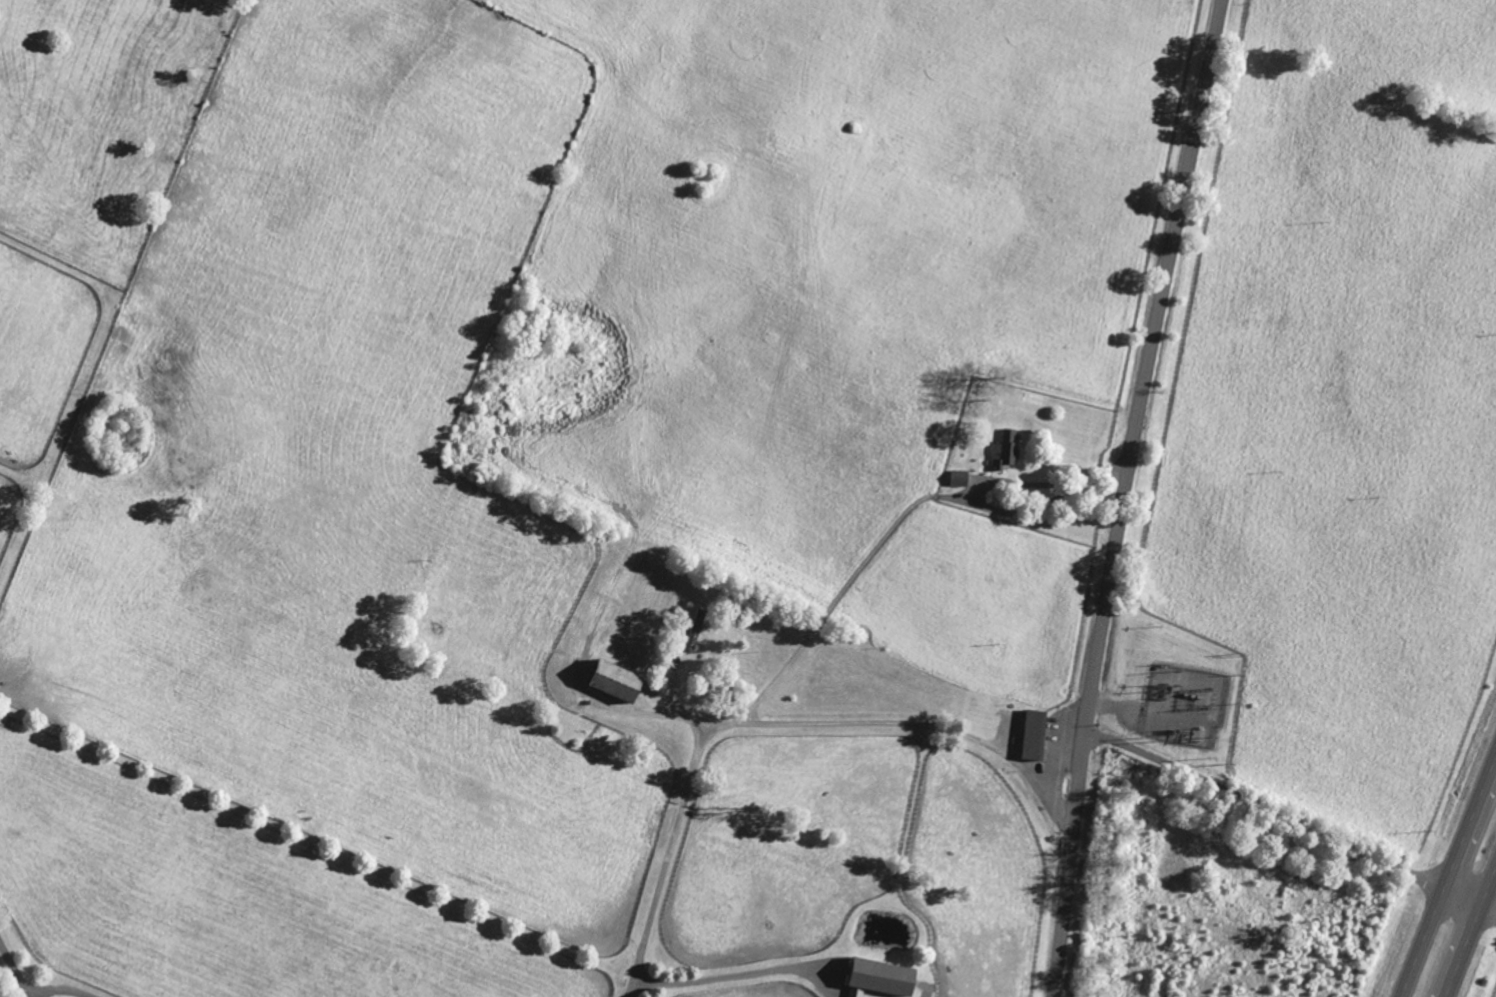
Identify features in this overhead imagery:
building: (1007, 451)
building: (962, 479)
crop: (552, 484)
road: (1121, 496)
road: (896, 526)
building: (698, 630)
building: (625, 683)
power substation: (1186, 705)
road: (674, 707)
road: (768, 722)
building: (1039, 735)
road: (1281, 816)
road: (1448, 873)
road: (1487, 882)
road: (1487, 907)
road: (1460, 950)
road: (14, 970)
road: (742, 974)
building: (888, 979)
road: (56, 989)
road: (925, 991)

